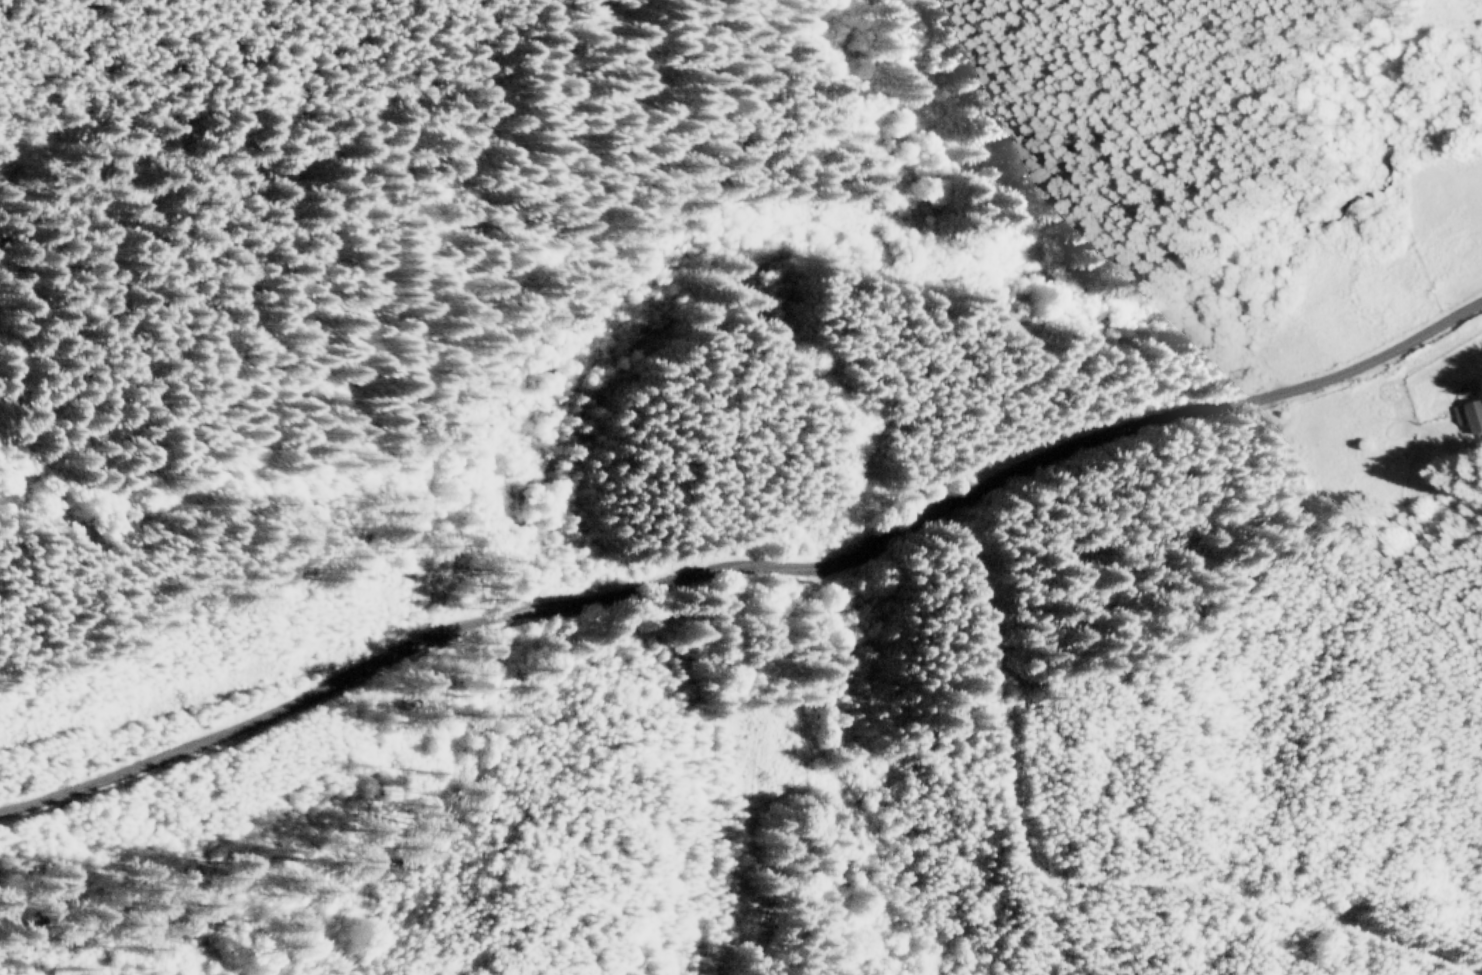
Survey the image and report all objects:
road: (747, 566)

